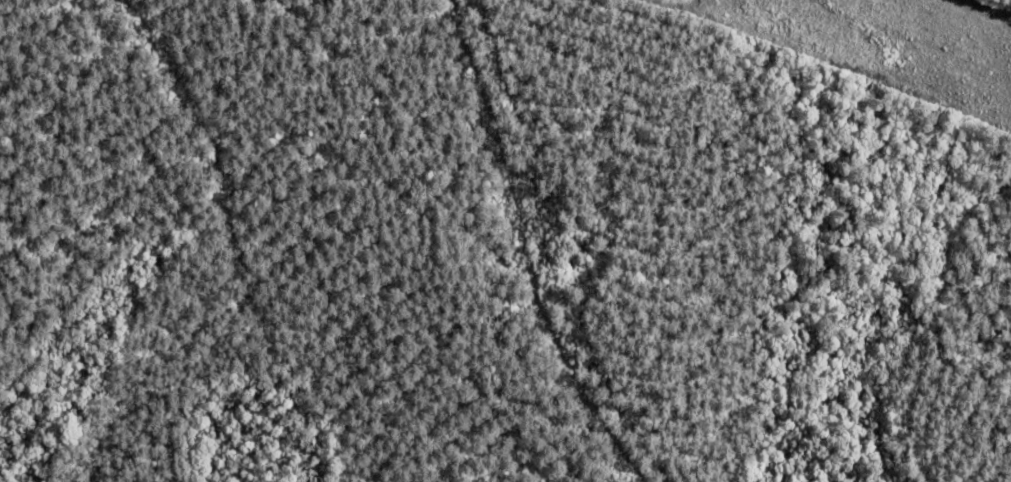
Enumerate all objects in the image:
road: (532, 251)

